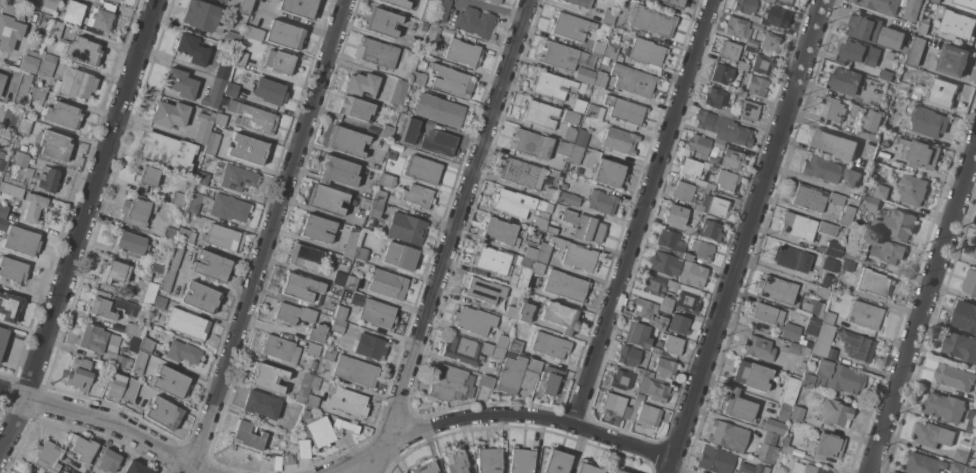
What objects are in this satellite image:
building: (24, 0)
building: (478, 0)
building: (481, 0)
building: (937, 0)
building: (113, 1)
building: (223, 1)
building: (494, 1)
building: (772, 1)
building: (789, 1)
building: (397, 3)
building: (579, 3)
building: (671, 3)
building: (967, 3)
building: (882, 5)
building: (49, 6)
building: (245, 6)
building: (298, 8)
building: (746, 8)
building: (913, 9)
building: (427, 10)
building: (441, 10)
building: (72, 13)
building: (619, 13)
building: (202, 16)
building: (780, 16)
building: (607, 17)
building: (99, 19)
building: (653, 21)
building: (382, 22)
building: (474, 22)
building: (764, 22)
building: (957, 24)
building: (423, 26)
building: (570, 26)
building: (757, 26)
building: (865, 26)
building: (11, 27)
building: (923, 27)
building: (55, 30)
building: (739, 30)
building: (253, 33)
building: (284, 35)
building: (432, 38)
building: (896, 38)
building: (231, 39)
building: (771, 41)
building: (598, 48)
building: (191, 49)
building: (749, 49)
building: (916, 50)
building: (82, 51)
building: (610, 52)
building: (647, 52)
building: (858, 52)
building: (376, 53)
building: (464, 53)
building: (732, 54)
building: (566, 56)
building: (410, 58)
building: (241, 59)
building: (954, 59)
building: (28, 61)
building: (278, 61)
building: (45, 64)
building: (762, 65)
building: (721, 74)
building: (886, 74)
building: (918, 74)
building: (585, 75)
building: (418, 78)
building: (600, 79)
building: (1, 80)
building: (633, 80)
building: (845, 80)
building: (451, 81)
building: (218, 82)
building: (76, 83)
building: (180, 83)
building: (362, 83)
building: (552, 85)
building: (756, 86)
building: (20, 89)
building: (732, 89)
building: (231, 90)
building: (269, 91)
building: (908, 91)
building: (398, 92)
building: (741, 92)
building: (943, 92)
building: (36, 93)
building: (714, 98)
building: (883, 104)
building: (579, 106)
building: (355, 108)
building: (832, 109)
building: (855, 109)
building: (439, 110)
building: (749, 110)
building: (594, 111)
building: (626, 111)
building: (724, 111)
building: (169, 114)
building: (61, 115)
building: (540, 115)
building: (733, 115)
building: (252, 117)
building: (570, 117)
building: (219, 119)
building: (872, 119)
building: (929, 121)
building: (7, 123)
building: (892, 123)
building: (23, 126)
building: (203, 127)
building: (722, 128)
building: (386, 132)
building: (400, 133)
building: (569, 134)
building: (869, 135)
building: (582, 137)
building: (432, 140)
building: (345, 141)
building: (619, 141)
building: (211, 143)
building: (718, 143)
building: (833, 143)
building: (531, 144)
building: (698, 144)
building: (53, 146)
building: (22, 147)
building: (565, 148)
building: (247, 149)
building: (167, 150)
building: (920, 153)
building: (575, 154)
building: (2, 155)
building: (390, 156)
building: (732, 159)
building: (21, 160)
building: (713, 160)
building: (1, 164)
building: (691, 167)
building: (422, 169)
building: (821, 169)
building: (337, 171)
building: (608, 173)
building: (523, 174)
building: (145, 177)
building: (851, 177)
building: (202, 178)
building: (237, 178)
building: (47, 179)
building: (387, 180)
building: (727, 180)
building: (700, 183)
building: (563, 186)
building: (709, 186)
building: (913, 189)
building: (10, 190)
building: (702, 190)
building: (881, 191)
building: (550, 194)
building: (686, 194)
building: (378, 195)
building: (418, 196)
building: (865, 196)
building: (809, 198)
building: (178, 199)
building: (326, 199)
building: (569, 199)
building: (836, 199)
building: (196, 202)
building: (602, 202)
building: (517, 203)
building: (873, 203)
building: (32, 205)
building: (228, 207)
building: (717, 207)
building: (375, 209)
building: (136, 210)
building: (3, 211)
road: (643, 212)
building: (675, 215)
building: (696, 215)
building: (845, 216)
building: (3, 224)
building: (539, 224)
building: (896, 224)
building: (585, 226)
building: (797, 226)
building: (316, 228)
building: (827, 228)
road: (83, 229)
building: (406, 229)
building: (550, 230)
building: (690, 230)
building: (710, 230)
building: (500, 231)
building: (168, 234)
building: (185, 235)
road: (742, 236)
building: (223, 237)
road: (270, 237)
road: (456, 237)
building: (20, 241)
building: (670, 242)
building: (130, 244)
building: (350, 244)
building: (833, 248)
building: (883, 249)
building: (699, 251)
building: (362, 252)
building: (530, 253)
building: (543, 253)
building: (975, 253)
building: (577, 255)
building: (852, 255)
building: (399, 256)
building: (174, 257)
building: (306, 257)
building: (791, 258)
building: (496, 260)
building: (664, 264)
building: (830, 264)
building: (847, 265)
building: (157, 266)
building: (211, 266)
building: (538, 268)
building: (12, 269)
building: (113, 272)
building: (691, 274)
building: (521, 278)
building: (167, 279)
building: (338, 279)
building: (827, 281)
building: (971, 281)
building: (351, 282)
building: (875, 283)
building: (388, 284)
building: (652, 285)
building: (565, 286)
building: (300, 287)
building: (483, 290)
building: (777, 290)
building: (821, 292)
building: (148, 293)
building: (684, 295)
building: (199, 297)
building: (672, 297)
building: (317, 299)
building: (159, 302)
building: (666, 302)
building: (9, 306)
building: (107, 307)
building: (664, 308)
building: (813, 308)
building: (372, 311)
building: (340, 312)
building: (511, 312)
road: (923, 312)
building: (524, 313)
building: (647, 313)
building: (766, 313)
building: (292, 314)
building: (966, 314)
building: (864, 315)
building: (560, 317)
building: (828, 317)
building: (474, 321)
building: (186, 324)
building: (678, 324)
building: (337, 325)
building: (812, 326)
building: (132, 329)
building: (789, 331)
building: (316, 333)
building: (637, 335)
building: (3, 338)
building: (98, 340)
building: (501, 341)
building: (804, 342)
building: (824, 342)
building: (135, 344)
building: (146, 344)
building: (549, 345)
building: (960, 345)
building: (514, 346)
building: (857, 346)
building: (370, 347)
building: (668, 347)
building: (758, 348)
building: (313, 349)
building: (796, 349)
building: (280, 350)
building: (470, 350)
building: (182, 352)
building: (328, 354)
building: (628, 356)
building: (122, 362)
building: (139, 362)
building: (100, 365)
building: (665, 368)
building: (355, 371)
building: (638, 371)
building: (510, 374)
building: (530, 374)
building: (648, 374)
building: (79, 375)
building: (751, 375)
building: (956, 376)
building: (839, 377)
building: (267, 378)
building: (620, 380)
building: (485, 381)
building: (548, 381)
building: (807, 381)
building: (169, 382)
building: (450, 384)
building: (115, 386)
building: (130, 390)
building: (307, 390)
building: (654, 390)
building: (790, 391)
building: (640, 397)
building: (346, 401)
building: (975, 401)
building: (255, 402)
building: (615, 406)
building: (737, 406)
building: (944, 406)
building: (634, 409)
building: (783, 412)
building: (162, 413)
building: (834, 413)
building: (305, 414)
building: (797, 414)
building: (648, 416)
road: (494, 417)
building: (972, 418)
road: (103, 424)
building: (772, 425)
building: (345, 426)
building: (319, 432)
building: (934, 434)
building: (247, 436)
building: (727, 436)
building: (769, 438)
building: (785, 445)
building: (827, 446)
building: (82, 448)
building: (302, 448)
building: (964, 450)
building: (766, 453)
building: (48, 456)
building: (287, 458)
building: (488, 460)
building: (521, 460)
building: (717, 460)
building: (107, 461)
building: (454, 461)
building: (556, 461)
building: (276, 462)
building: (924, 463)
building: (424, 467)
building: (957, 467)
building: (135, 468)
building: (587, 468)
building: (752, 468)
building: (813, 469)
building: (971, 469)
building: (617, 471)
building: (24, 472)
building: (27, 472)
building: (64, 472)
building: (90, 472)

